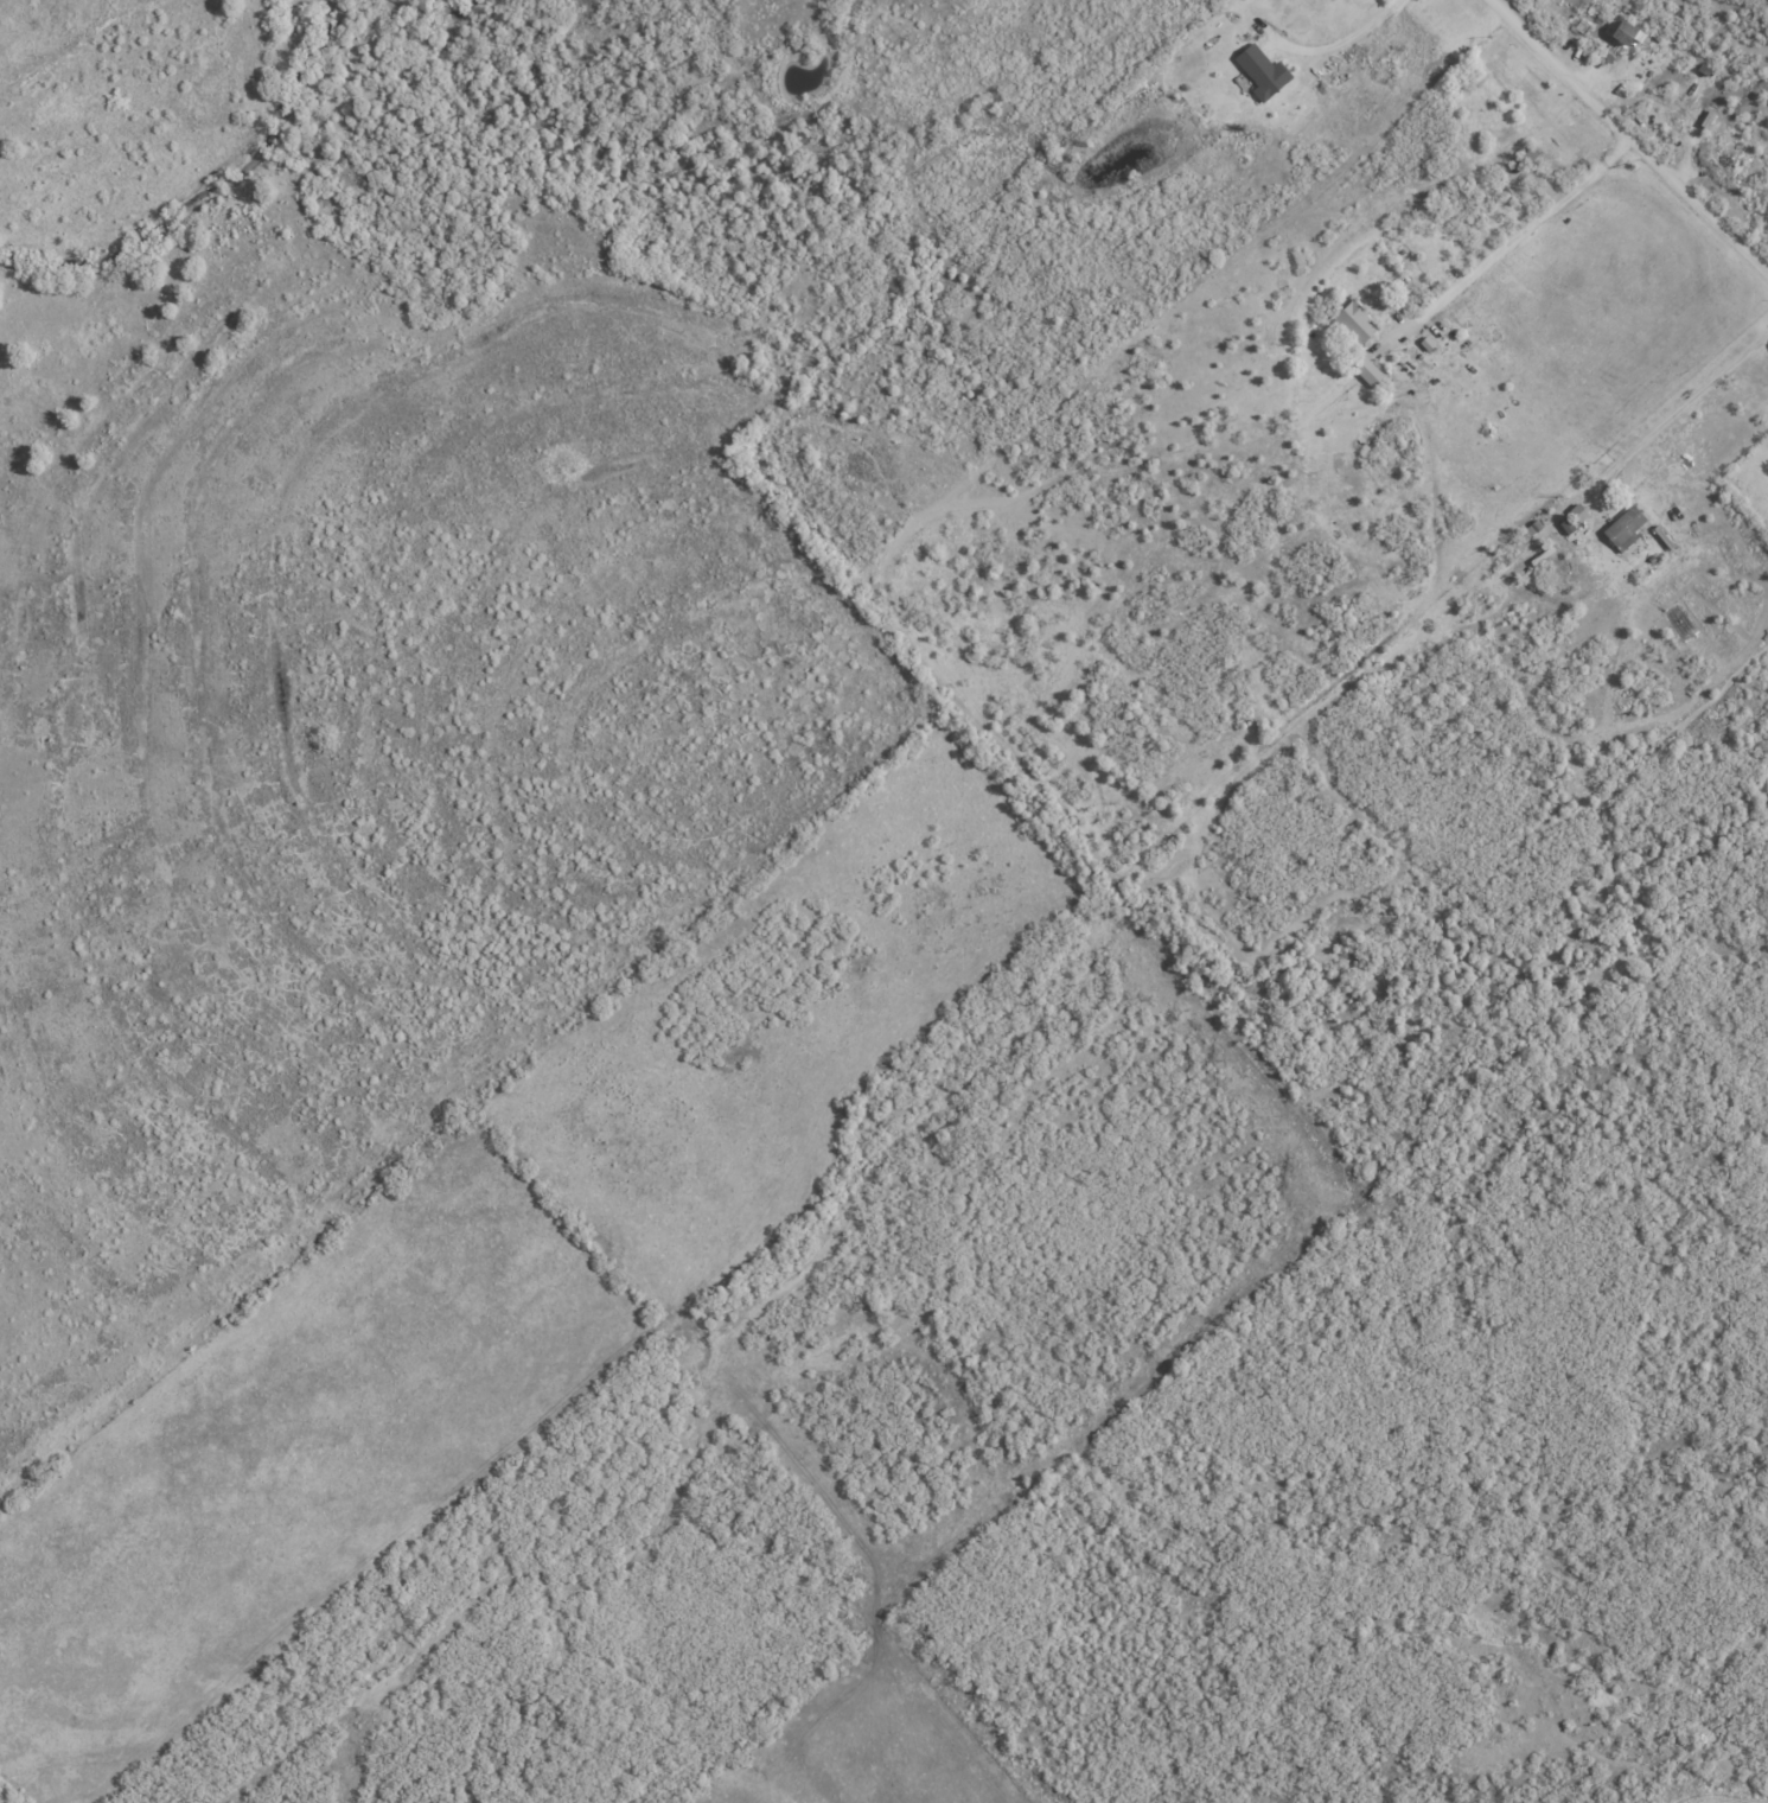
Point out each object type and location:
building: (1623, 34)
road: (1341, 37)
building: (1262, 71)
road: (1629, 138)
road: (1513, 241)
building: (1355, 323)
building: (1366, 370)
road: (1697, 395)
road: (1601, 508)
building: (1625, 528)

